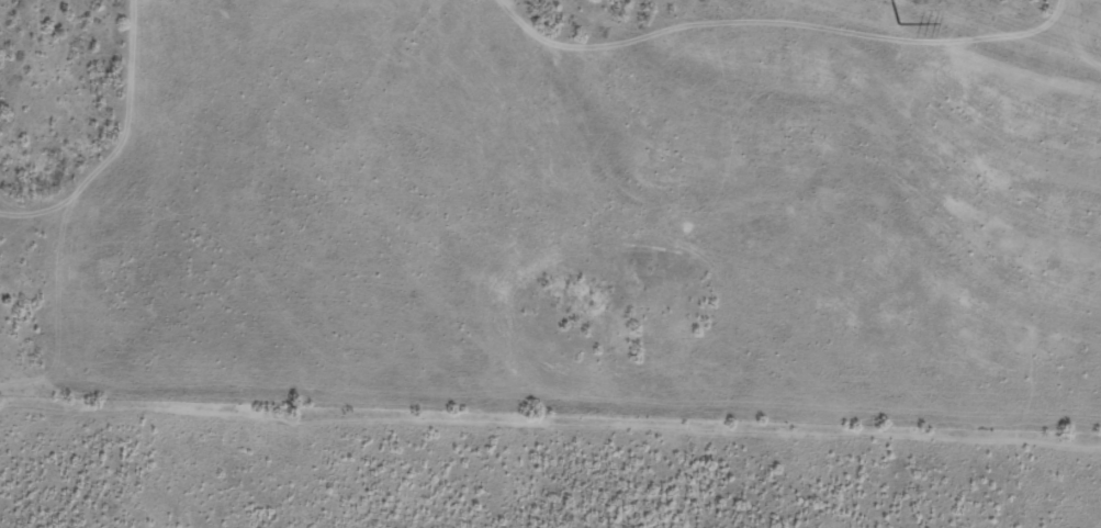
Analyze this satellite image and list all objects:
power tower: (900, 21)

